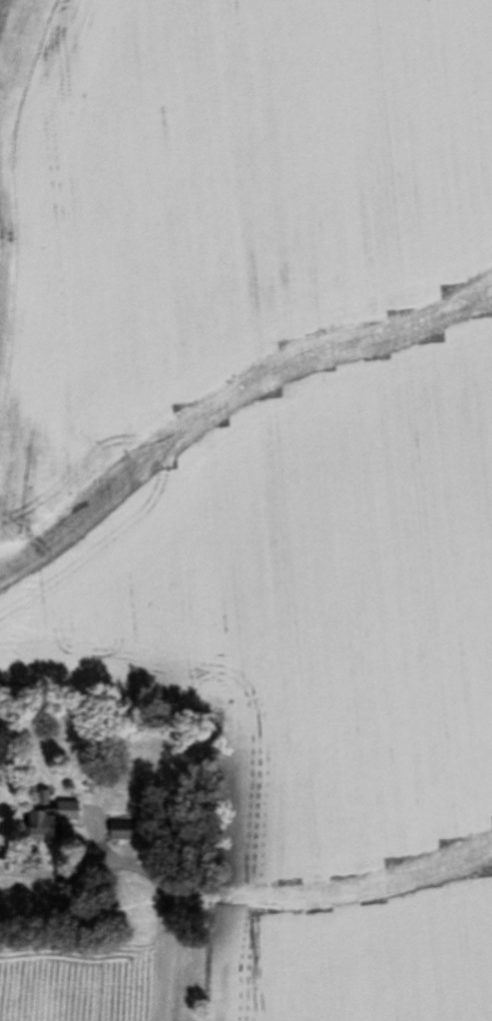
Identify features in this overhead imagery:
building: (49, 820)
building: (121, 832)
road: (165, 935)

